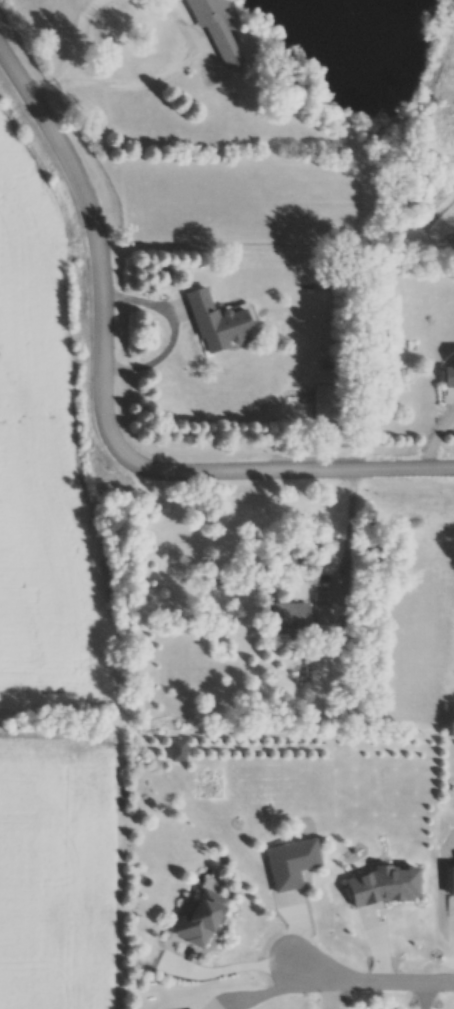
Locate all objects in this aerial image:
building: (215, 28)
road: (123, 87)
road: (49, 90)
park: (259, 116)
building: (400, 152)
building: (219, 325)
building: (449, 380)
building: (326, 404)
road: (106, 408)
road: (351, 533)
building: (291, 617)
building: (324, 617)
building: (292, 866)
building: (451, 875)
building: (202, 921)
road: (371, 983)
road: (424, 997)

